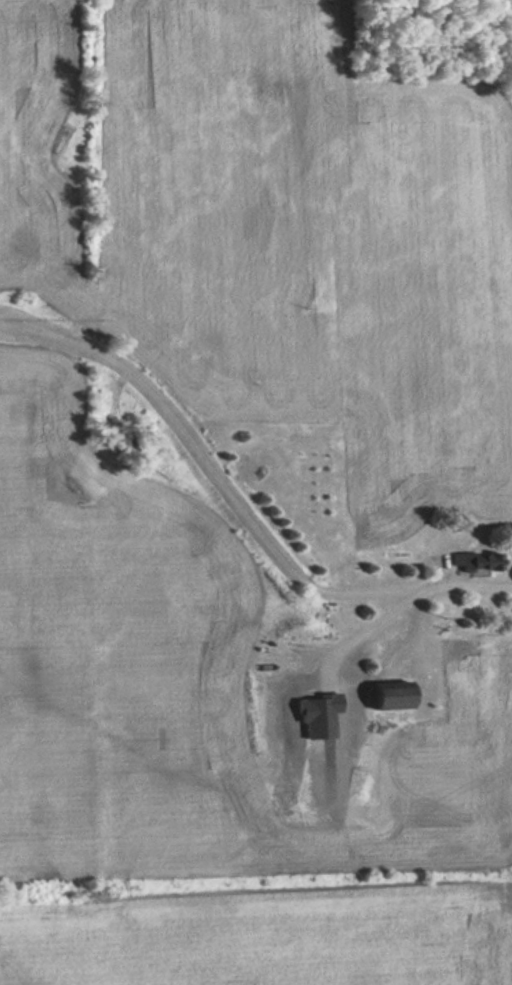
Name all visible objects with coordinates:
park: (429, 36)
building: (472, 557)
building: (385, 694)

